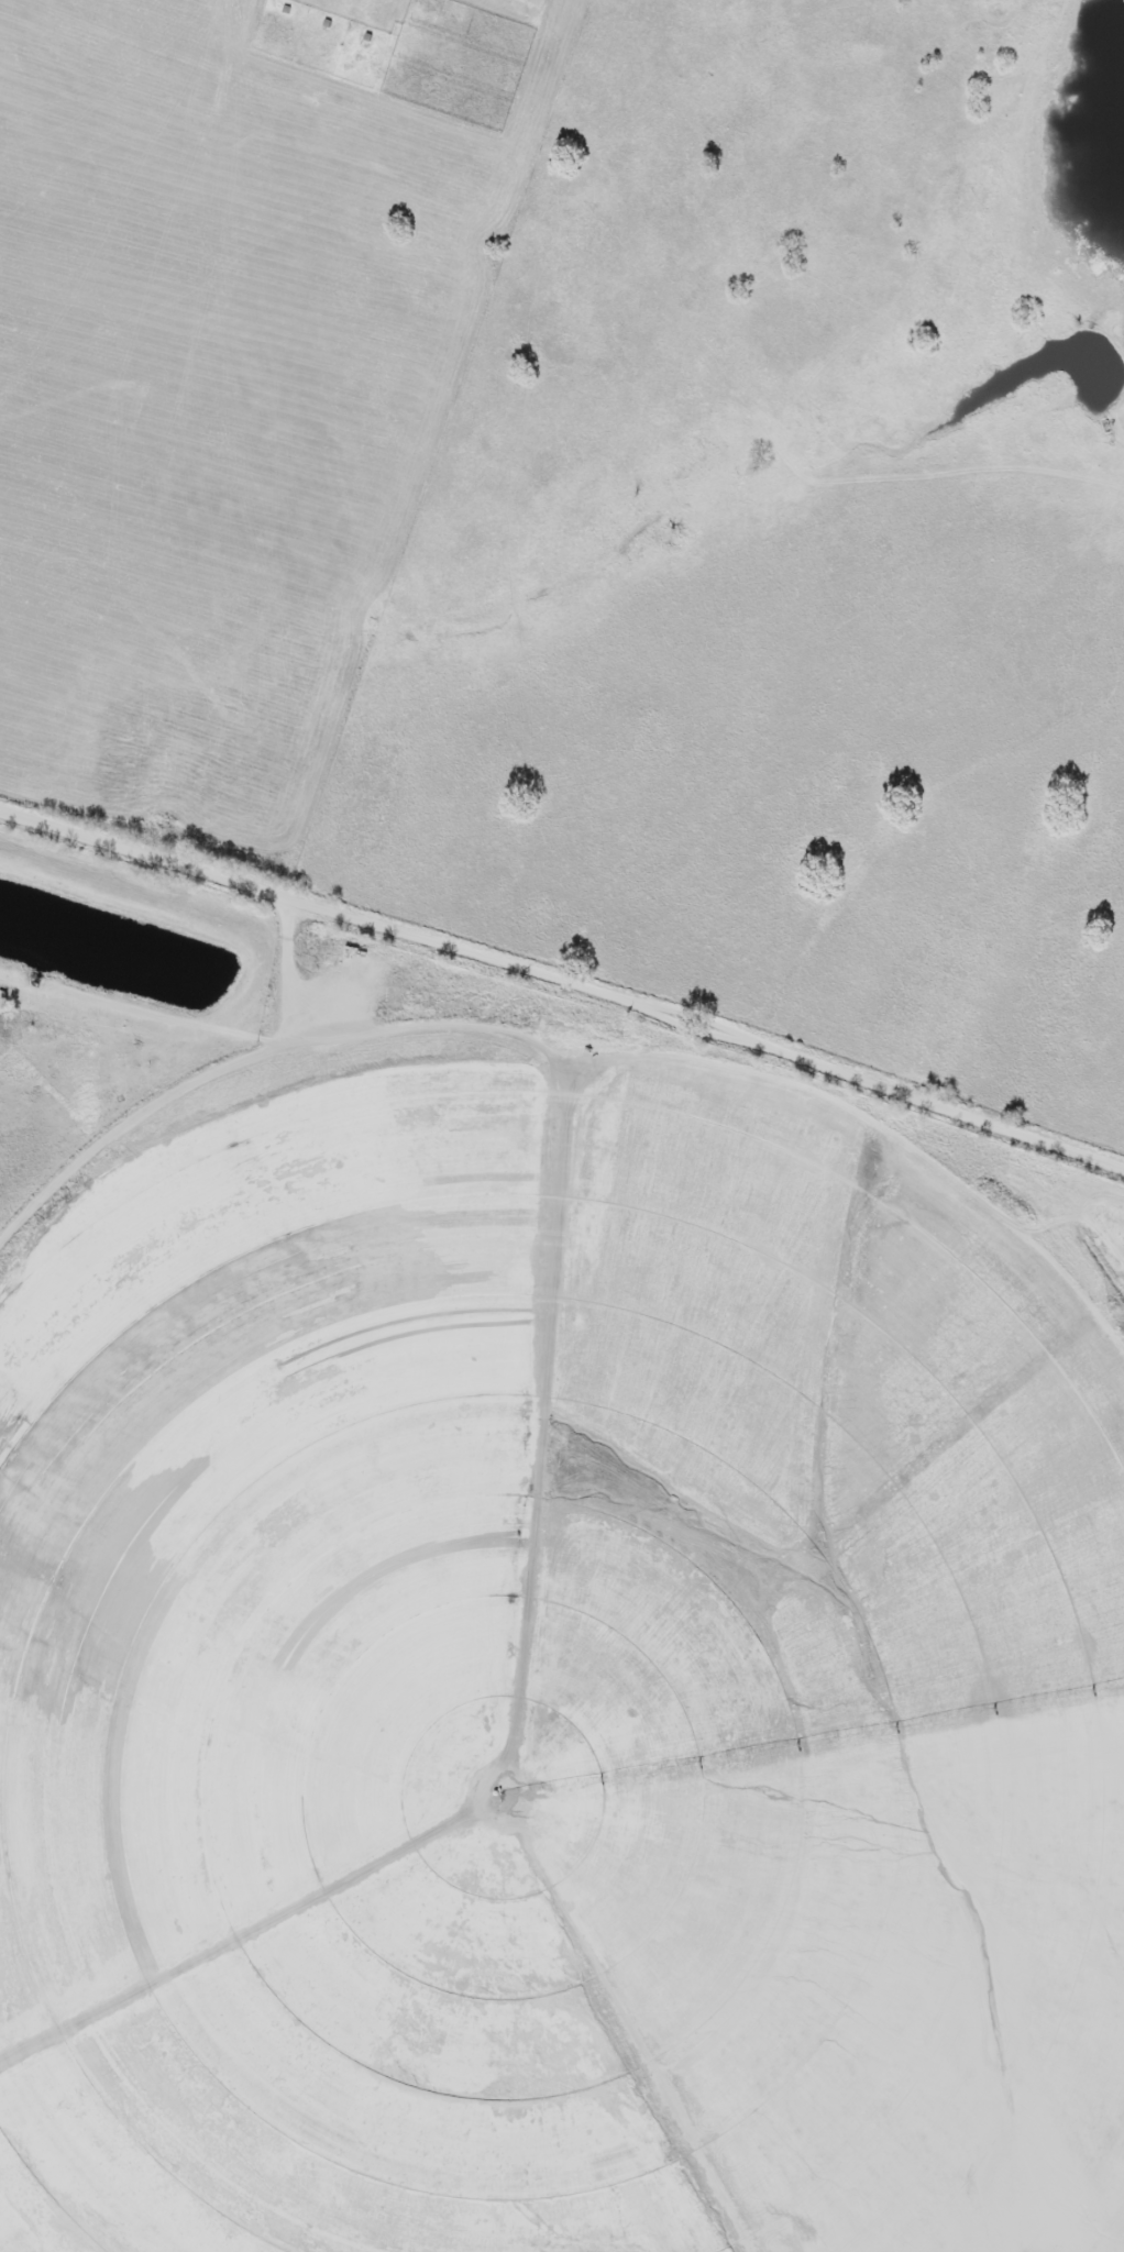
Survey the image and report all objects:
road: (564, 982)

